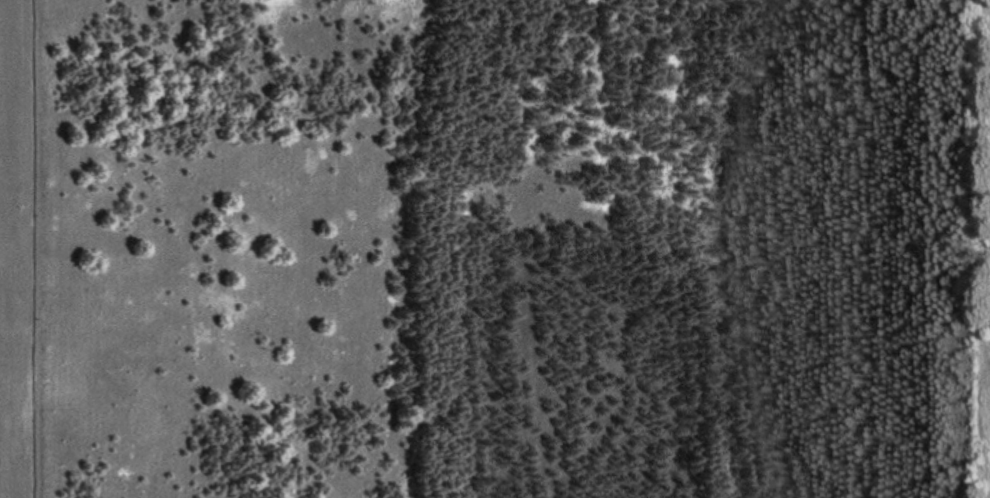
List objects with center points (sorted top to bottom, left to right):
park: (504, 248)

